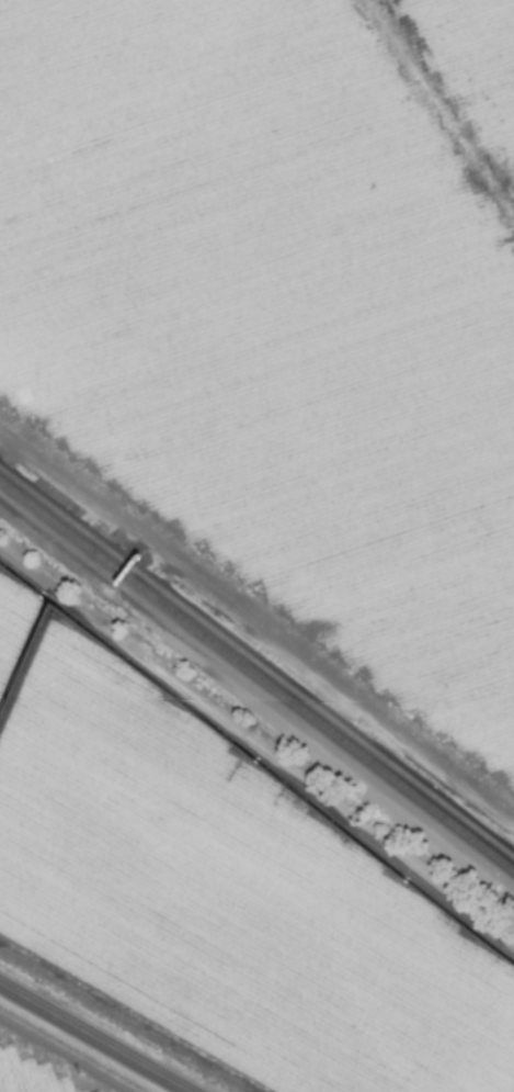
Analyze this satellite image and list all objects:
railway: (70, 525)
railway: (70, 532)
railway: (255, 661)
railway: (256, 690)
railway: (327, 728)
road: (94, 1037)

